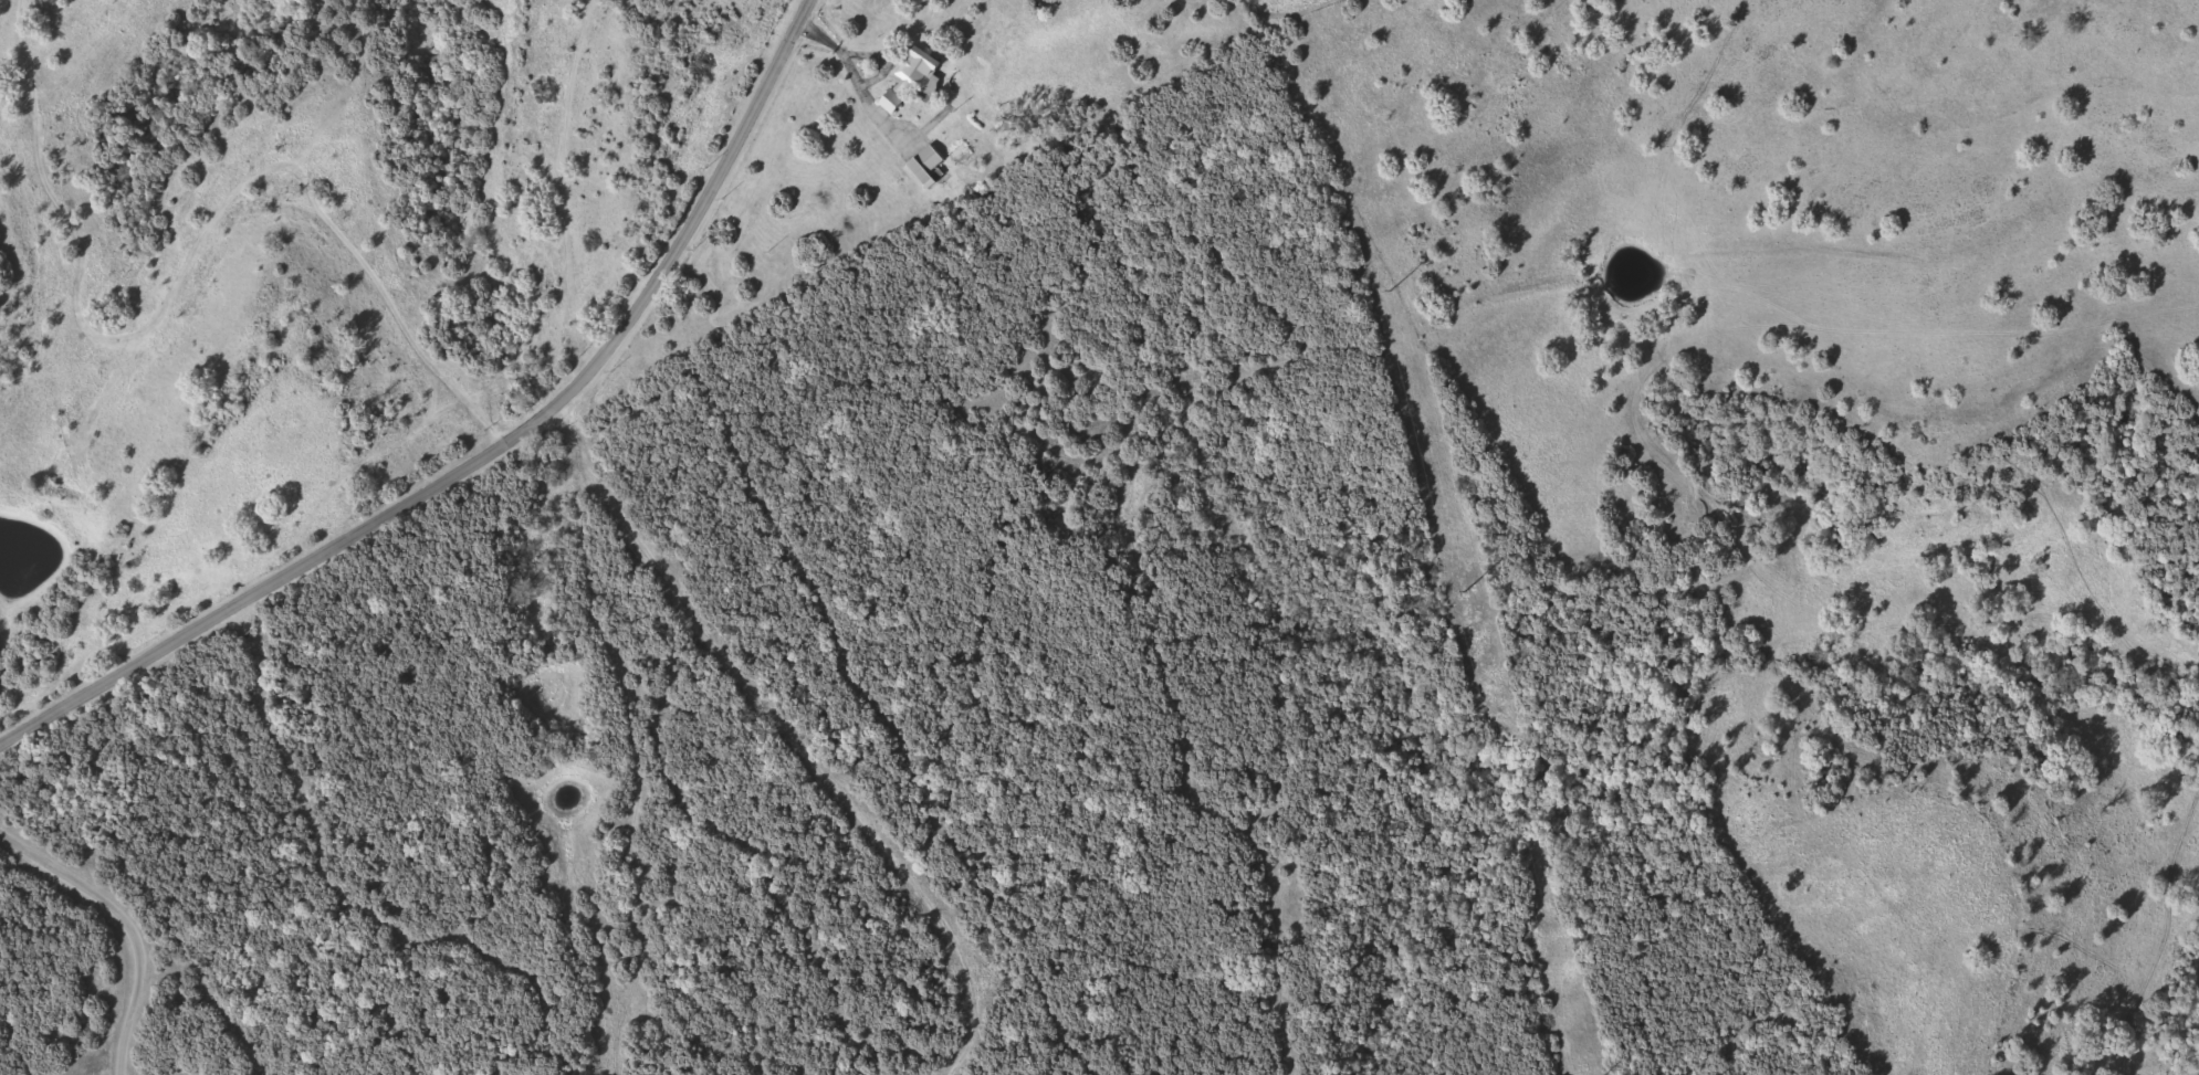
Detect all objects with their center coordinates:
building: (911, 84)
building: (928, 166)
road: (489, 454)
road: (1298, 536)
road: (1100, 565)
road: (124, 926)

